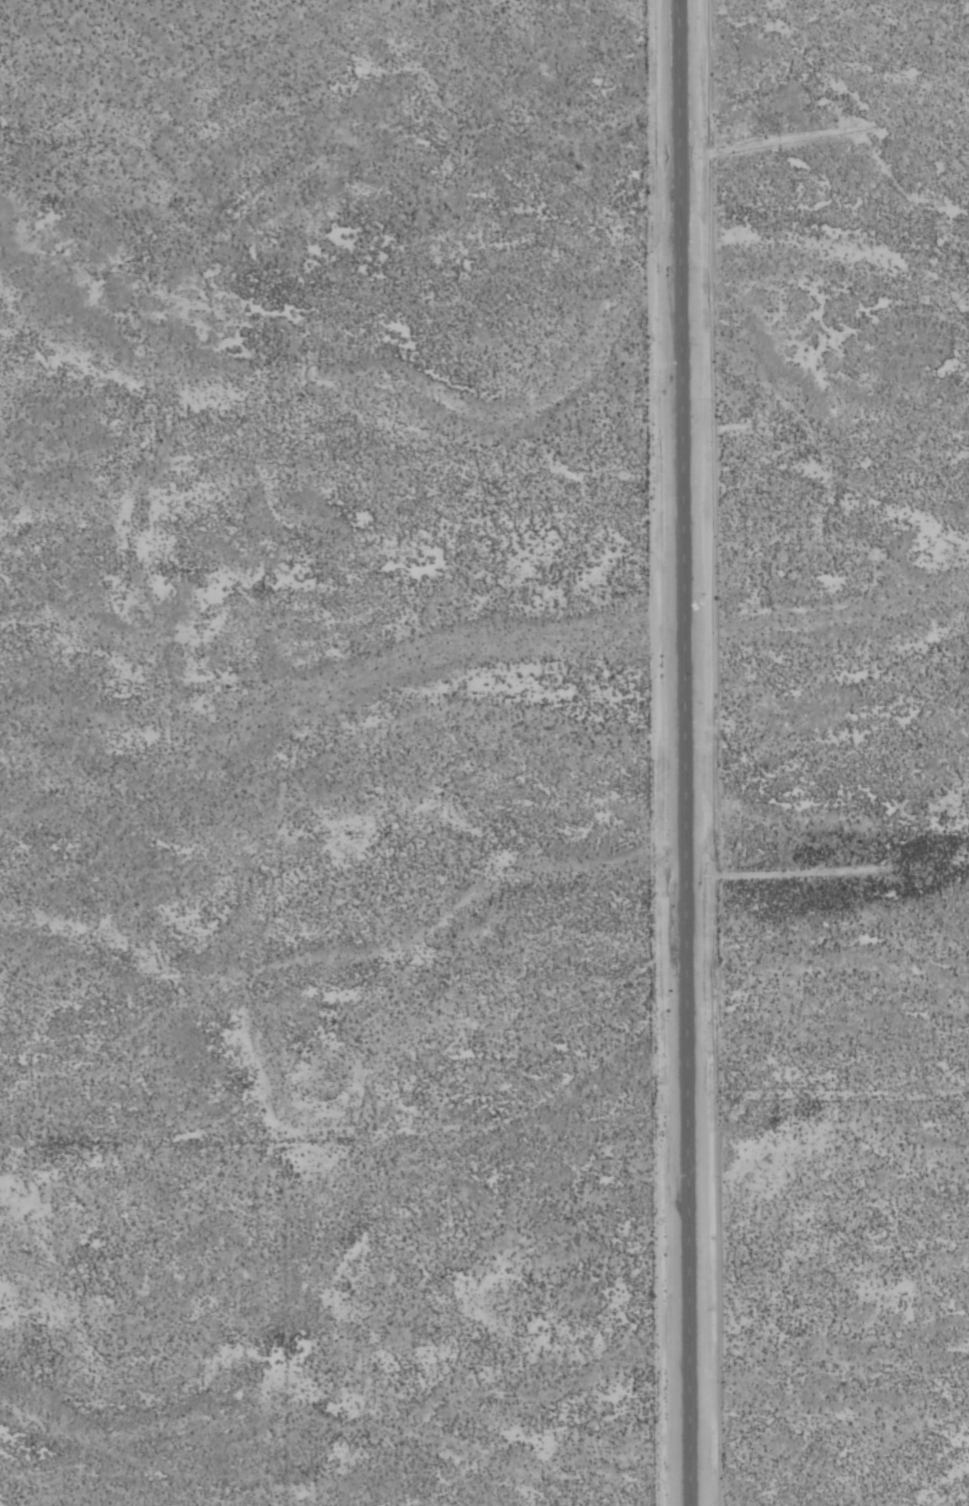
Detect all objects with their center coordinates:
road: (686, 752)

